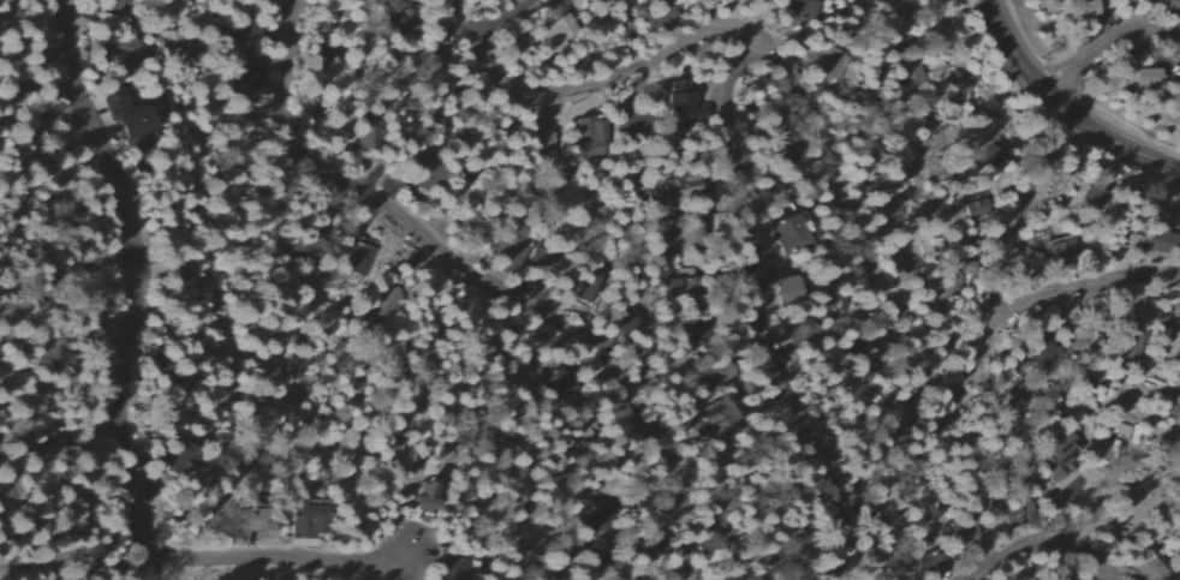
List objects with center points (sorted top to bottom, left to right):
building: (801, 10)
building: (1083, 10)
road: (896, 12)
road: (514, 16)
building: (660, 17)
building: (555, 32)
building: (828, 65)
building: (1134, 77)
building: (681, 101)
road: (1061, 108)
building: (125, 116)
building: (630, 125)
building: (590, 138)
road: (1057, 148)
road: (833, 161)
building: (679, 190)
building: (1089, 199)
building: (975, 209)
building: (786, 234)
building: (1157, 244)
building: (507, 249)
building: (1061, 251)
building: (358, 259)
building: (542, 262)
building: (178, 275)
road: (479, 285)
building: (785, 287)
road: (759, 298)
building: (381, 307)
building: (1170, 343)
building: (556, 385)
road: (118, 397)
building: (717, 415)
building: (421, 497)
road: (1067, 508)
building: (308, 518)
building: (963, 534)
road: (1035, 543)
building: (453, 569)

